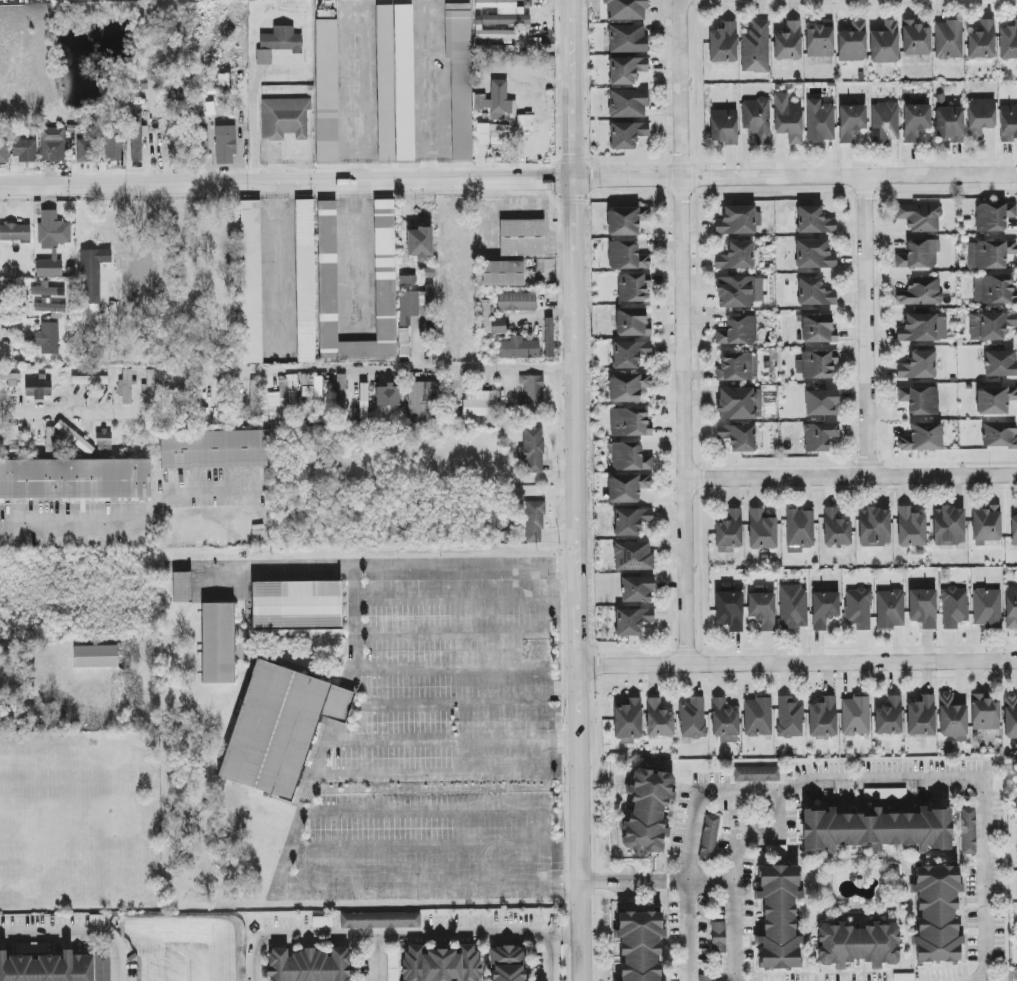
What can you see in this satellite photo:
road: (509, 4)
building: (626, 10)
building: (499, 18)
building: (627, 39)
building: (916, 39)
building: (819, 40)
building: (948, 40)
building: (982, 41)
building: (1008, 42)
building: (278, 43)
building: (723, 43)
building: (788, 43)
building: (853, 43)
building: (885, 44)
building: (756, 49)
building: (495, 50)
building: (626, 70)
building: (460, 79)
building: (395, 83)
building: (326, 91)
building: (496, 102)
building: (628, 104)
building: (980, 118)
building: (284, 119)
building: (788, 119)
building: (757, 120)
building: (948, 120)
building: (916, 121)
building: (524, 122)
building: (820, 122)
building: (851, 122)
building: (885, 123)
building: (1008, 124)
road: (254, 125)
building: (723, 127)
building: (482, 134)
building: (627, 135)
building: (137, 137)
building: (175, 139)
building: (200, 142)
building: (53, 145)
building: (114, 145)
building: (225, 150)
building: (4, 151)
building: (26, 151)
building: (85, 151)
road: (508, 178)
building: (994, 216)
building: (920, 217)
building: (626, 221)
building: (736, 221)
building: (814, 221)
building: (15, 233)
building: (522, 238)
building: (52, 243)
building: (420, 243)
building: (919, 254)
building: (990, 254)
building: (814, 255)
building: (626, 256)
building: (736, 257)
building: (385, 271)
building: (93, 273)
building: (501, 274)
building: (305, 281)
building: (251, 282)
building: (632, 287)
building: (46, 290)
building: (994, 290)
building: (739, 291)
building: (921, 292)
building: (814, 293)
building: (516, 302)
building: (408, 307)
building: (428, 307)
building: (51, 310)
building: (492, 321)
building: (632, 322)
building: (991, 326)
road: (865, 327)
building: (923, 328)
building: (818, 329)
building: (738, 331)
road: (684, 332)
building: (549, 338)
building: (48, 339)
building: (404, 343)
building: (519, 349)
building: (629, 354)
building: (1000, 364)
building: (817, 365)
building: (918, 366)
road: (385, 368)
building: (738, 368)
building: (89, 380)
building: (126, 387)
building: (312, 387)
building: (627, 387)
building: (38, 388)
building: (533, 392)
building: (252, 395)
building: (341, 397)
building: (283, 399)
building: (387, 400)
building: (920, 400)
building: (995, 400)
building: (198, 401)
building: (363, 401)
building: (424, 401)
building: (328, 402)
building: (821, 403)
building: (478, 404)
building: (739, 404)
building: (172, 405)
road: (66, 413)
building: (630, 423)
building: (999, 435)
building: (73, 437)
building: (738, 437)
building: (819, 437)
building: (923, 438)
building: (14, 439)
building: (104, 440)
building: (213, 450)
building: (532, 450)
building: (629, 457)
road: (851, 476)
building: (75, 479)
building: (627, 488)
road: (575, 490)
building: (534, 522)
building: (631, 522)
building: (986, 525)
road: (141, 526)
building: (949, 526)
building: (874, 528)
building: (911, 528)
building: (836, 529)
building: (730, 530)
building: (762, 530)
building: (800, 530)
building: (1014, 531)
building: (633, 557)
road: (411, 566)
building: (182, 587)
building: (637, 590)
road: (450, 598)
building: (296, 606)
building: (954, 607)
building: (793, 608)
building: (923, 608)
building: (987, 608)
building: (1011, 608)
building: (729, 609)
building: (824, 609)
building: (858, 609)
building: (890, 609)
building: (762, 610)
building: (632, 622)
road: (450, 635)
building: (218, 644)
building: (95, 657)
road: (796, 665)
road: (449, 668)
road: (453, 705)
building: (985, 713)
building: (758, 716)
building: (855, 716)
building: (921, 716)
building: (889, 717)
building: (1010, 717)
building: (790, 718)
building: (823, 718)
building: (952, 718)
building: (693, 719)
building: (724, 719)
building: (628, 720)
building: (659, 720)
road: (541, 722)
building: (279, 728)
road: (430, 773)
building: (756, 774)
road: (874, 782)
building: (885, 794)
road: (425, 810)
building: (647, 811)
building: (876, 830)
building: (968, 831)
road: (301, 832)
building: (709, 838)
road: (690, 847)
road: (419, 849)
road: (654, 879)
building: (936, 915)
building: (778, 917)
building: (97, 920)
building: (380, 921)
building: (322, 922)
road: (76, 934)
road: (401, 939)
building: (718, 939)
building: (639, 945)
building: (857, 945)
road: (549, 959)
road: (378, 960)
building: (441, 964)
building: (507, 964)
building: (310, 966)
building: (392, 966)
building: (104, 967)
building: (47, 968)
building: (904, 977)
building: (706, 978)

